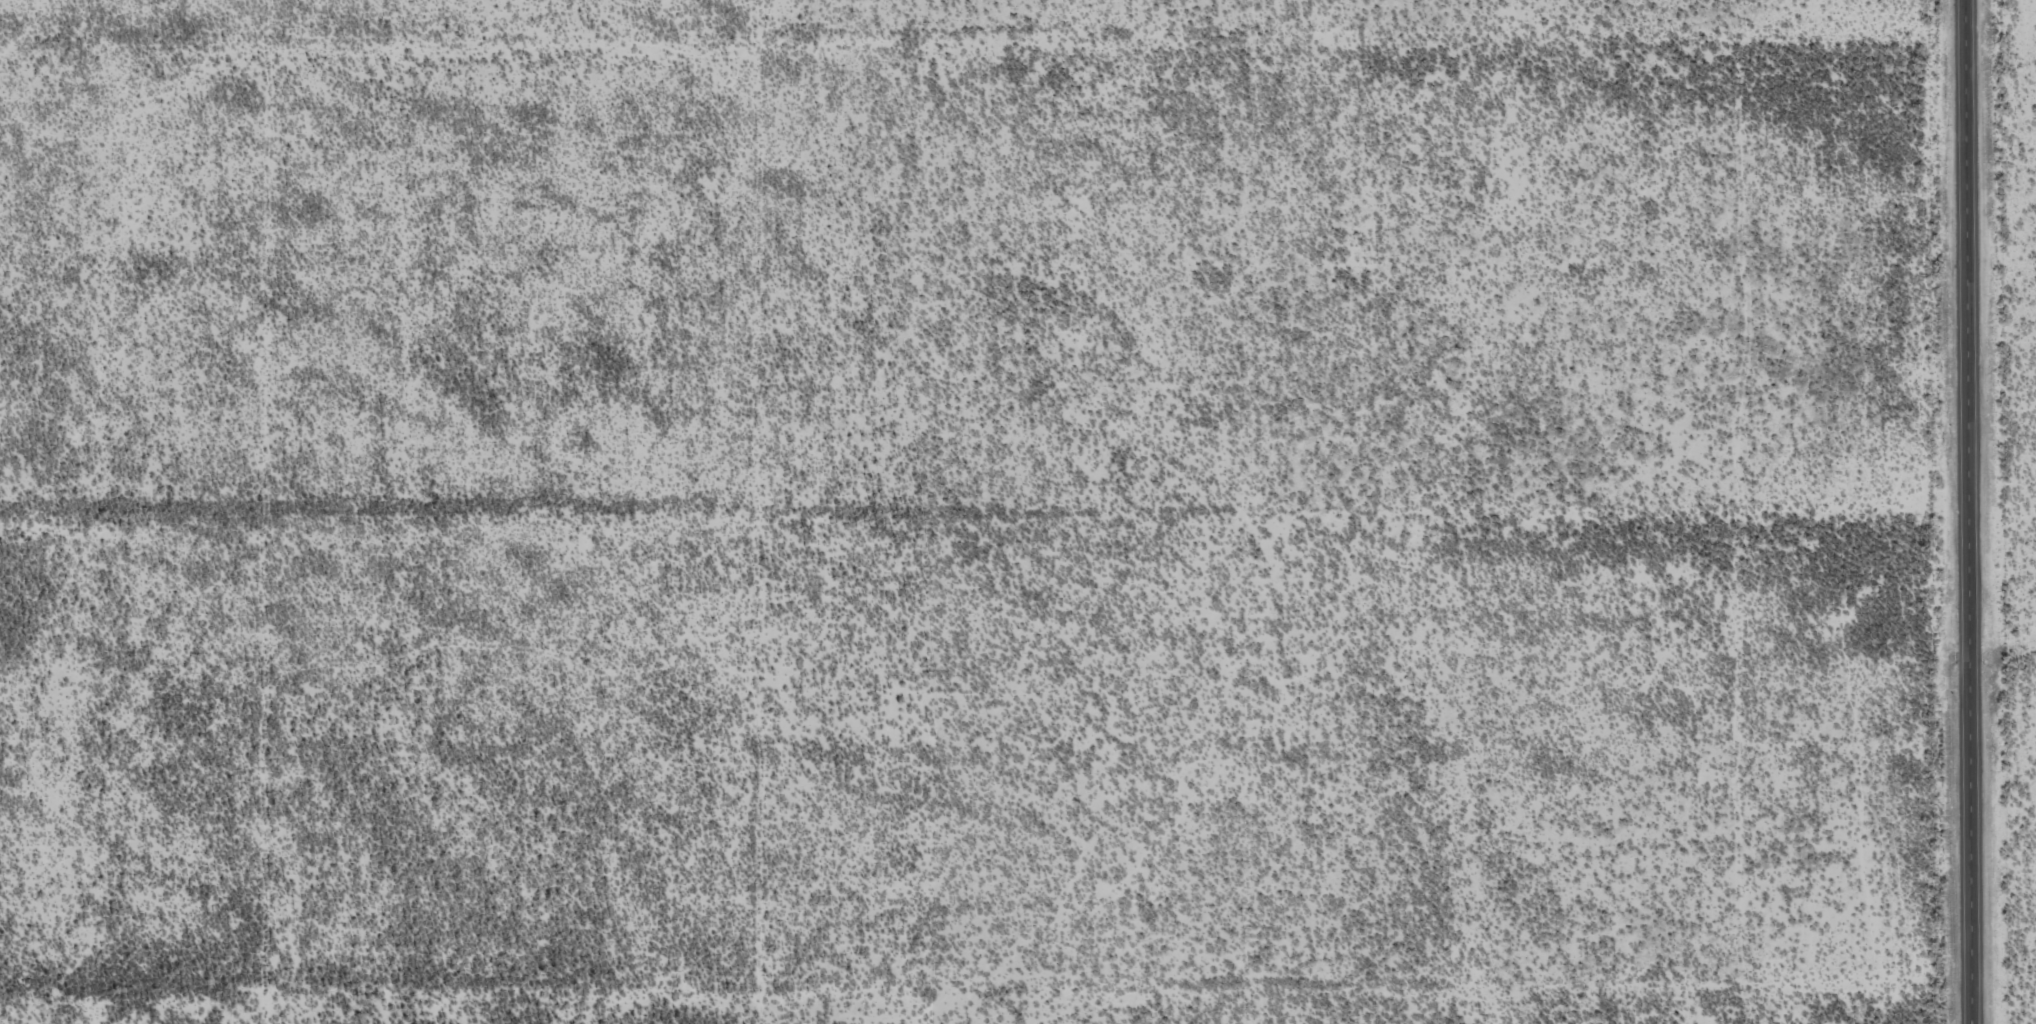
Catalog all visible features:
road: (1969, 512)

